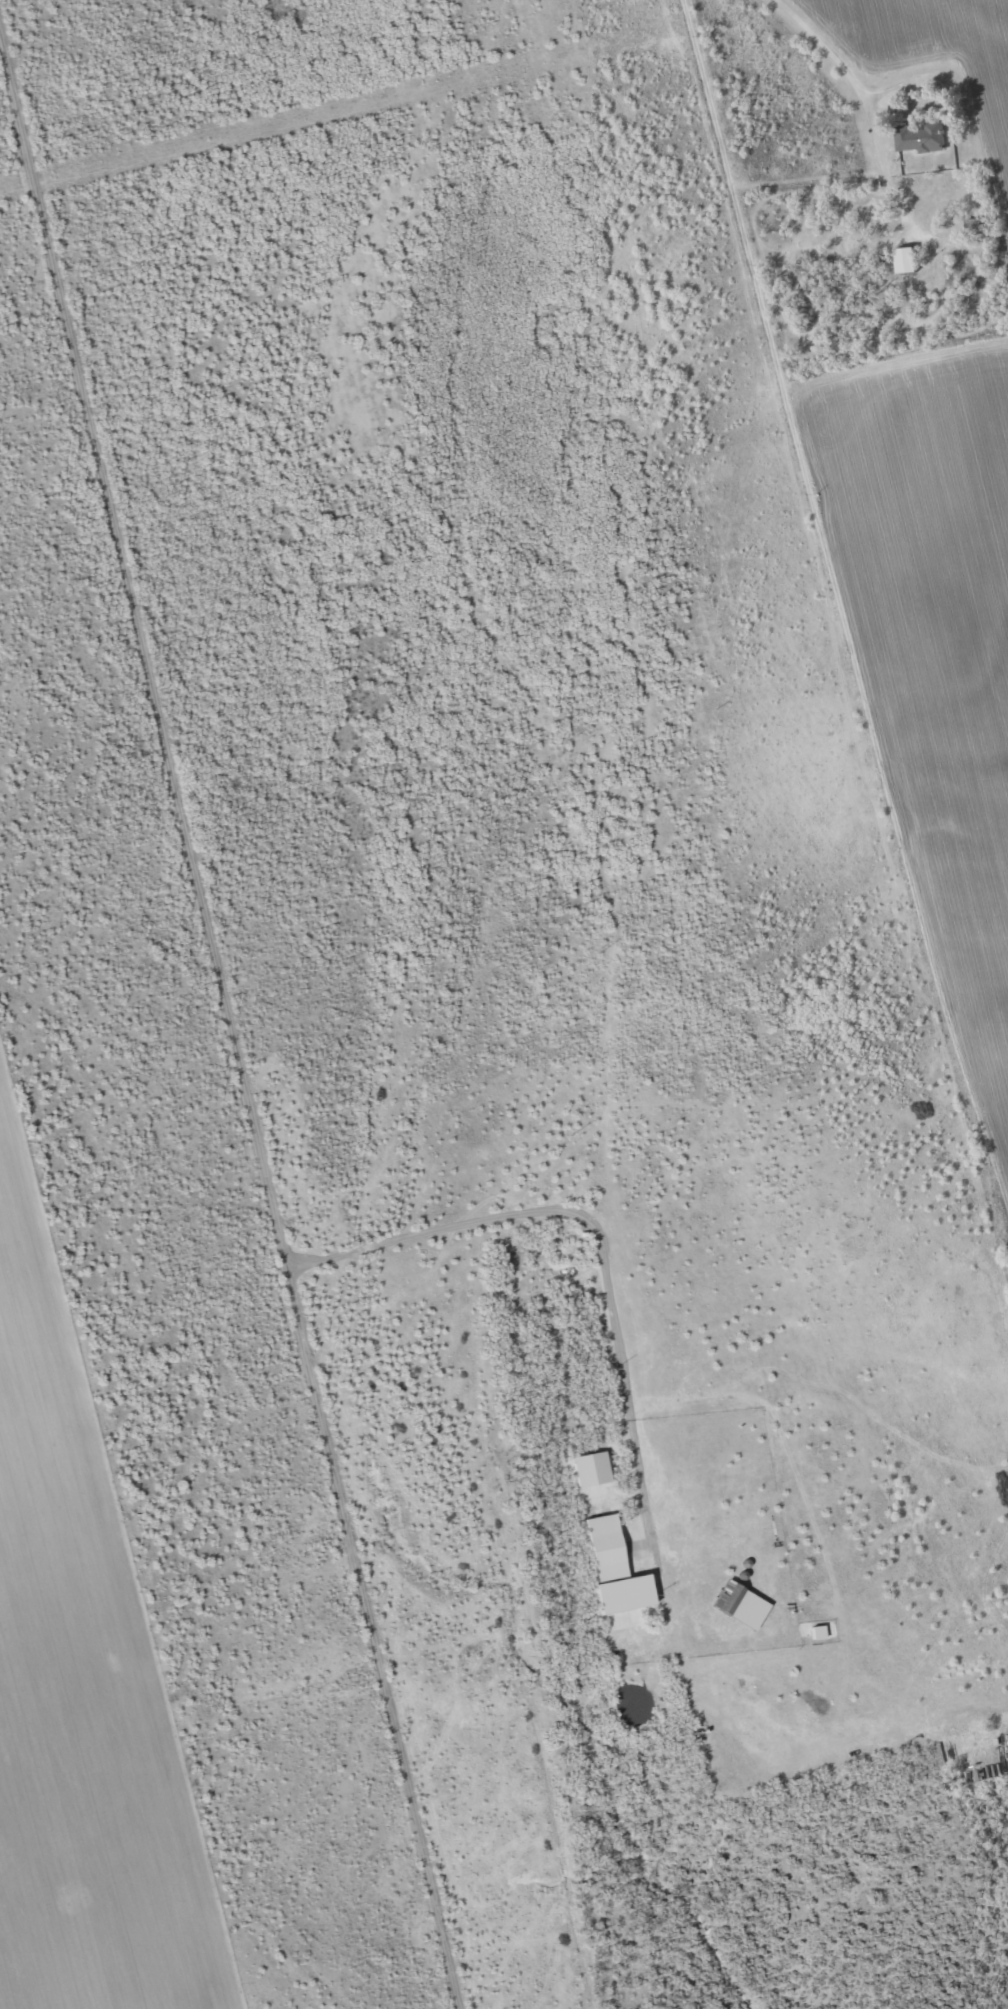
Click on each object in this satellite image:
road: (866, 100)
building: (921, 137)
building: (908, 259)
road: (228, 1026)
building: (564, 1181)
building: (611, 1565)

